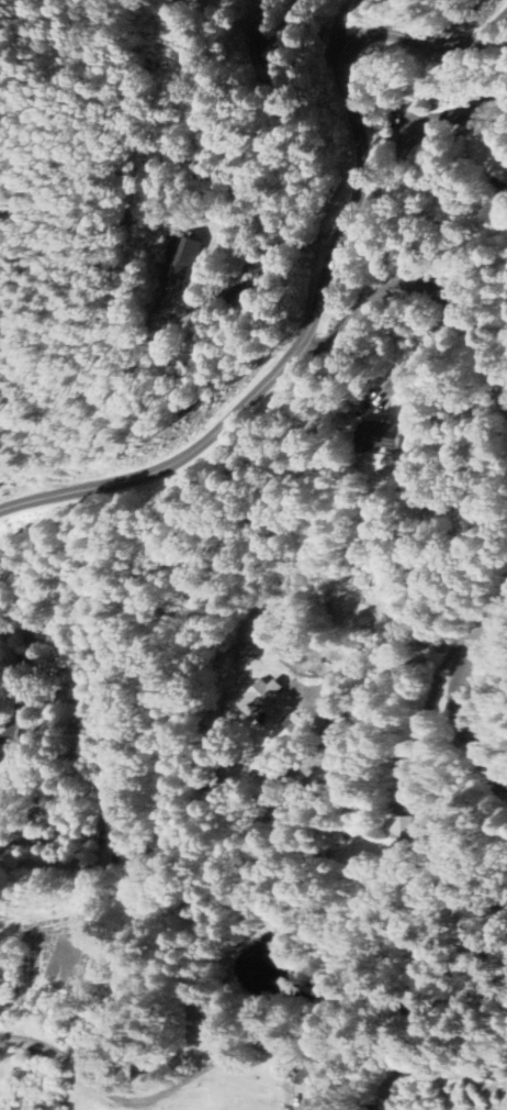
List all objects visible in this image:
road: (338, 23)
road: (269, 46)
building: (473, 116)
road: (322, 282)
road: (424, 285)
road: (418, 643)
road: (457, 688)
building: (271, 701)
building: (404, 834)
park: (212, 1014)
road: (116, 1095)
building: (300, 1109)

